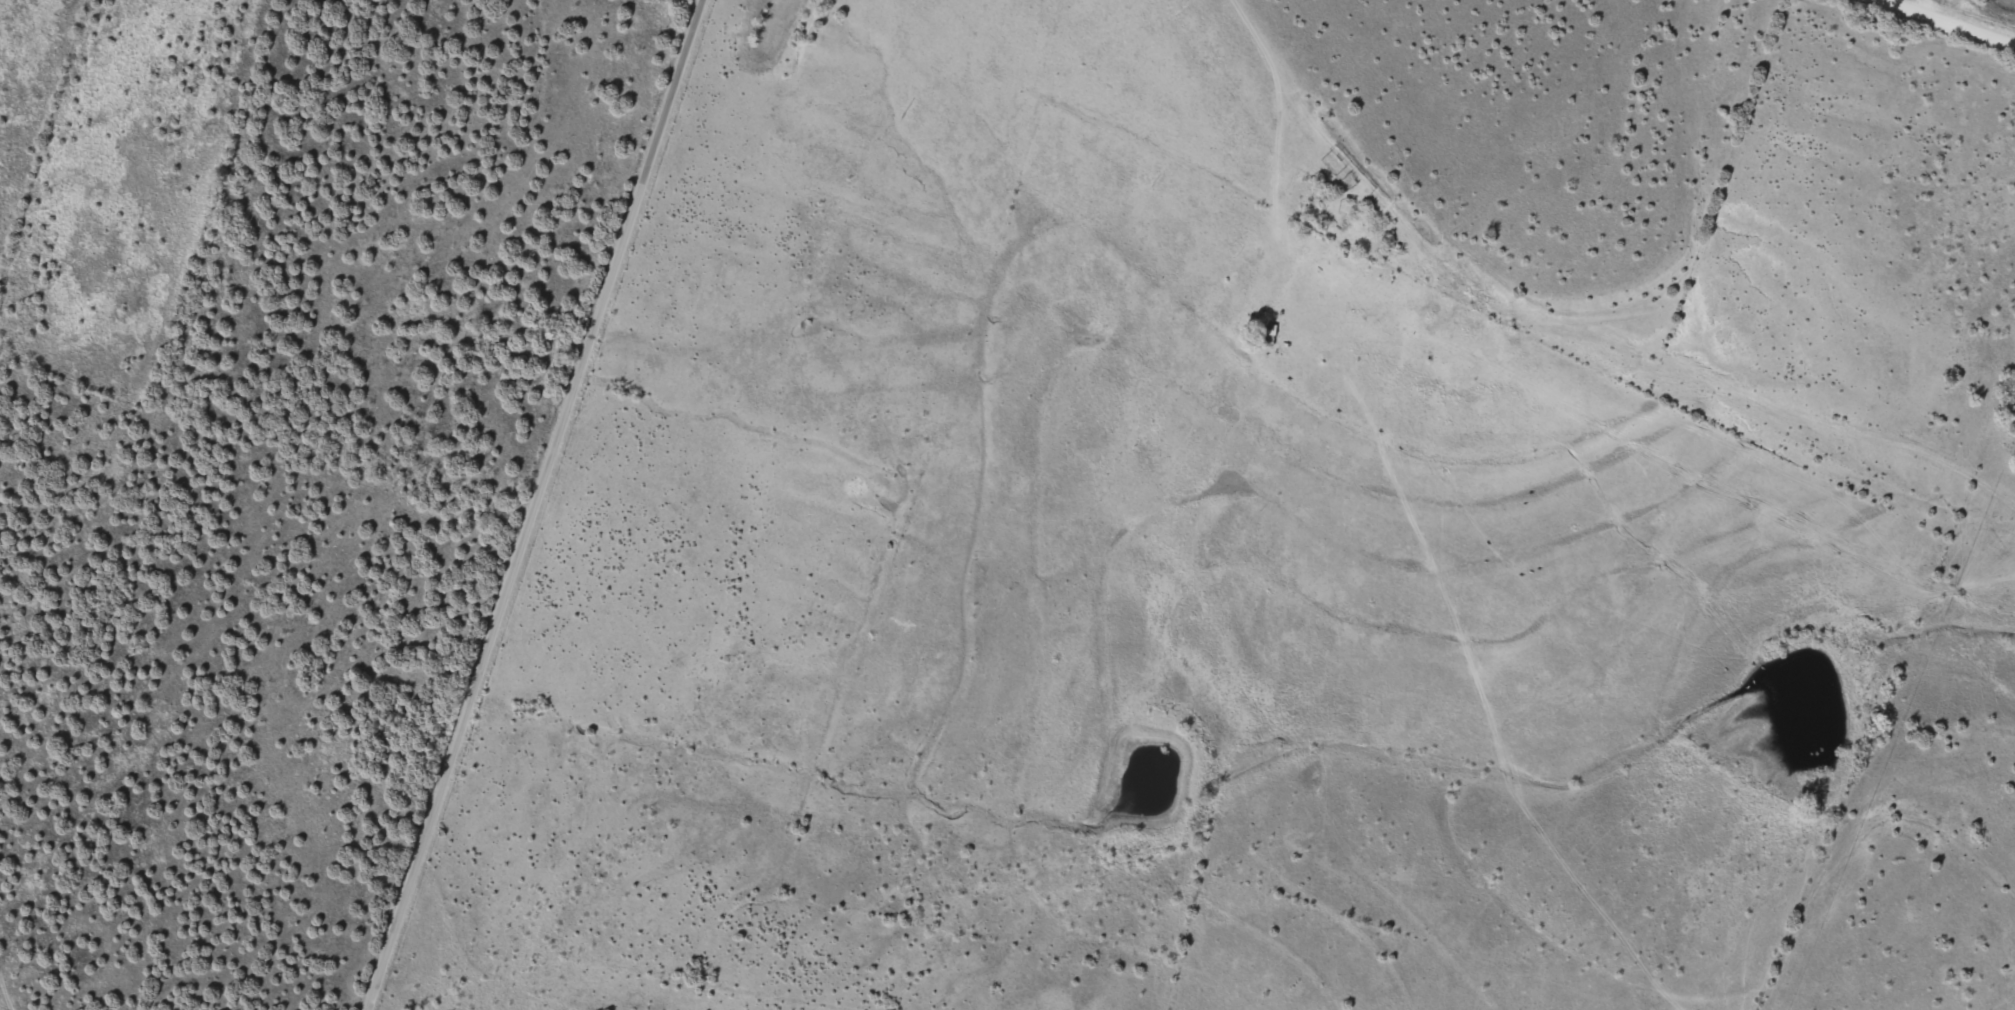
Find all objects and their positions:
building: (1269, 332)
road: (530, 505)

